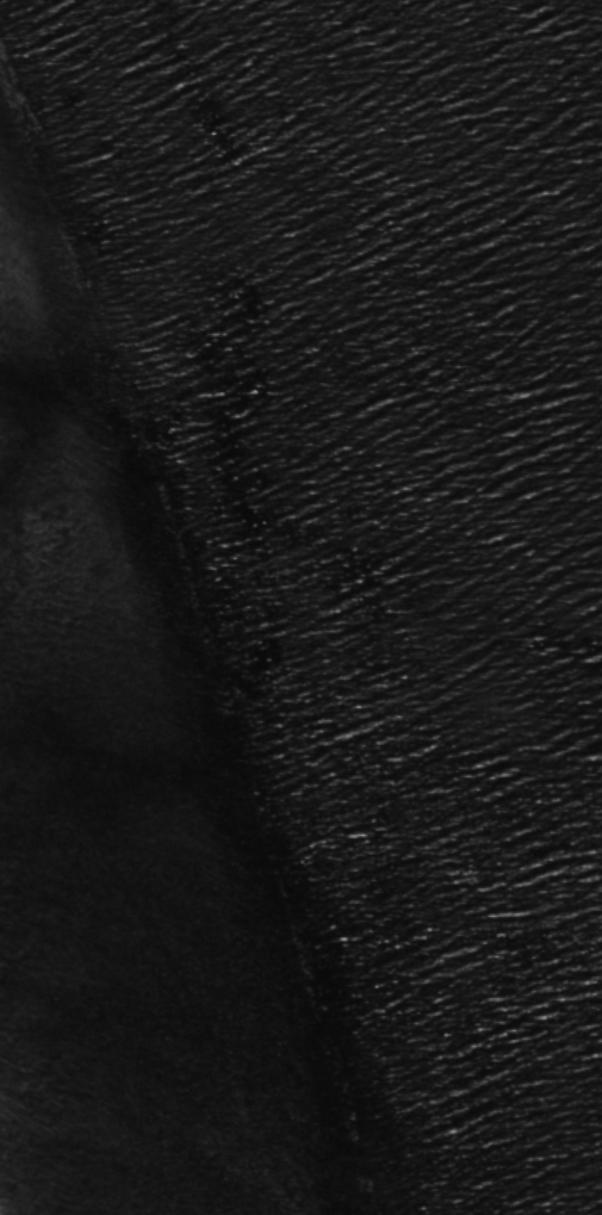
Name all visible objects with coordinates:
river: (477, 225)

